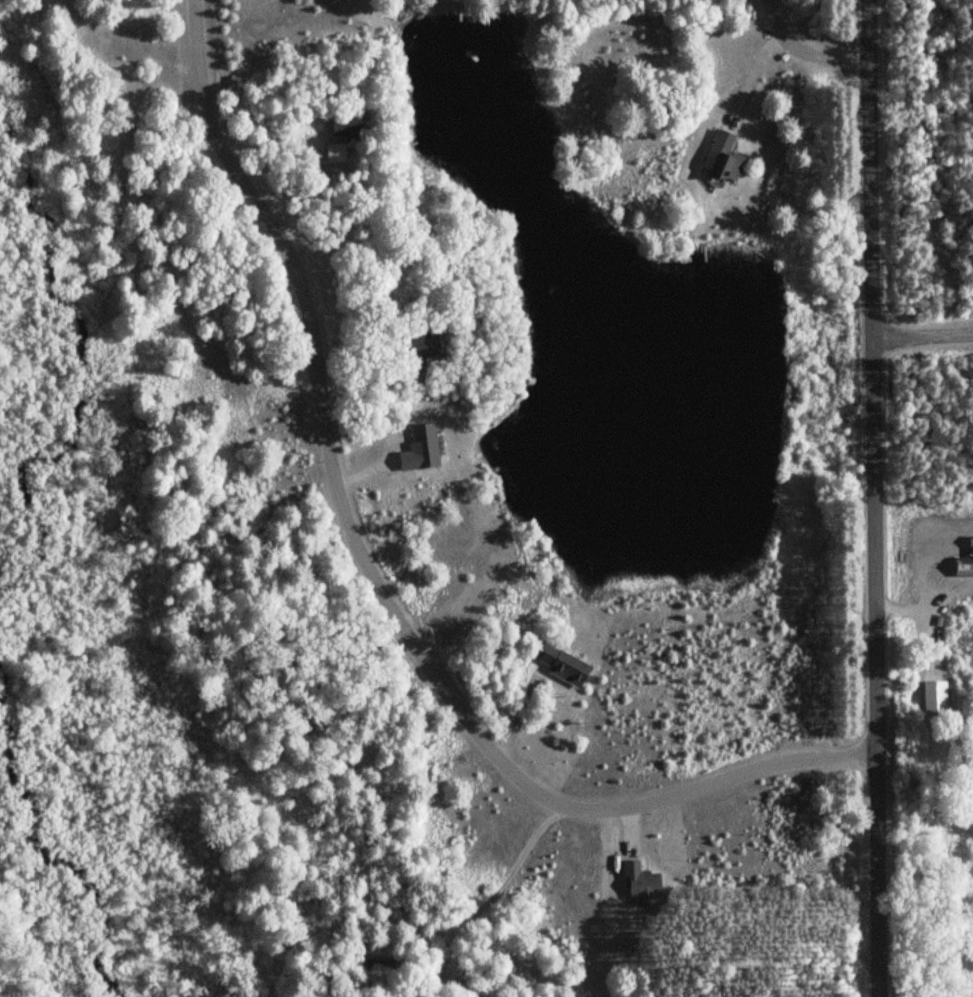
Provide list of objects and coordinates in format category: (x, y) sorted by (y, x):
road: (807, 52)
building: (724, 154)
road: (922, 337)
building: (432, 349)
building: (428, 446)
road: (873, 498)
road: (375, 580)
building: (565, 663)
road: (925, 802)
building: (644, 879)

